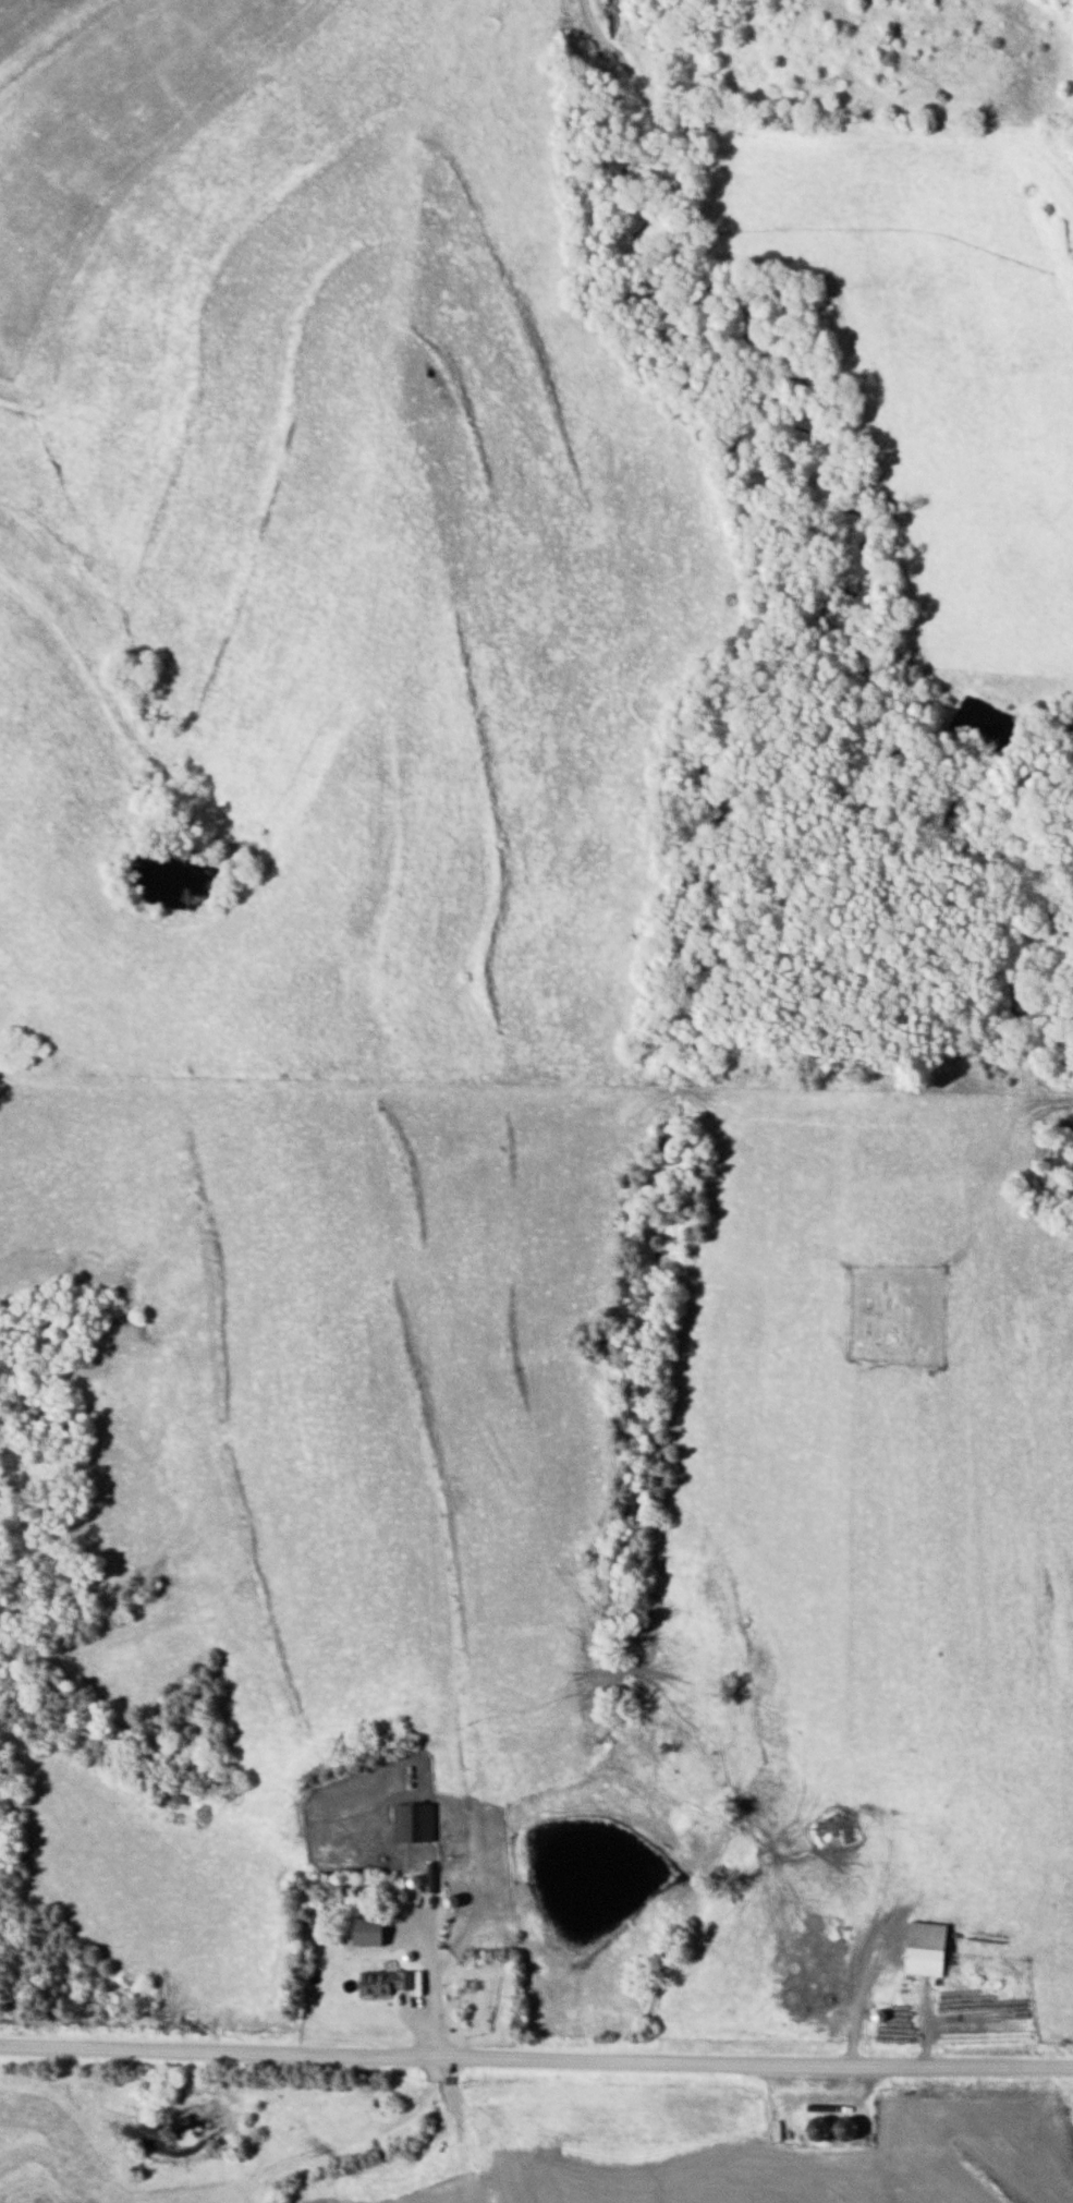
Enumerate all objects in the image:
park: (893, 1311)
building: (409, 1821)
building: (359, 1929)
building: (922, 1947)
road: (536, 2057)

